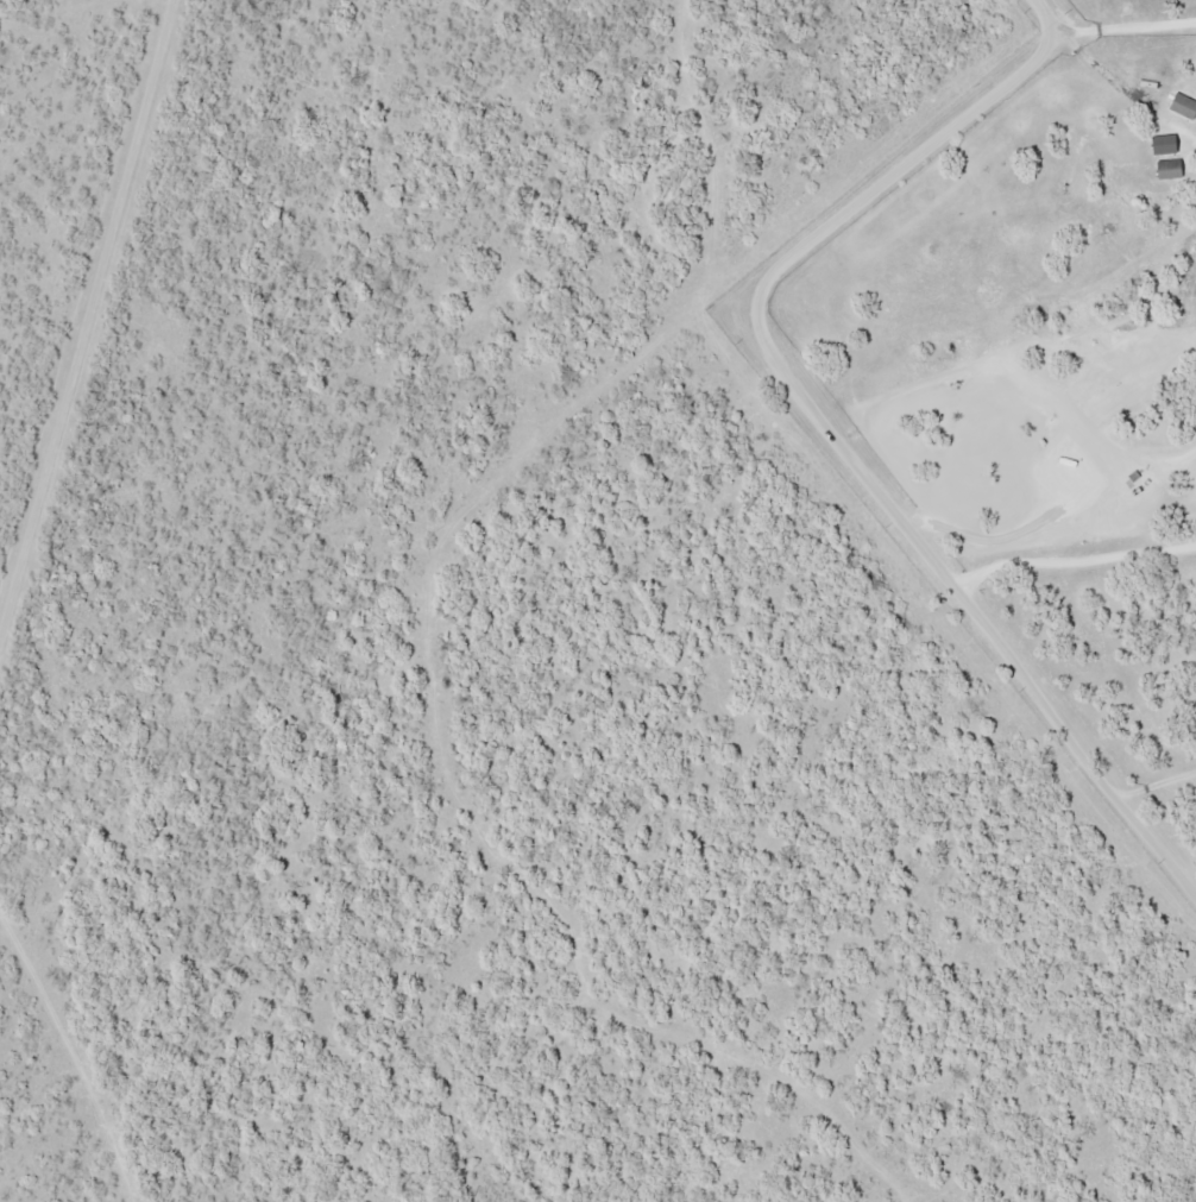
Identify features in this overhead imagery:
road: (1118, 32)
building: (1185, 103)
building: (1170, 143)
building: (1175, 169)
road: (88, 316)
road: (830, 422)
road: (74, 1055)

